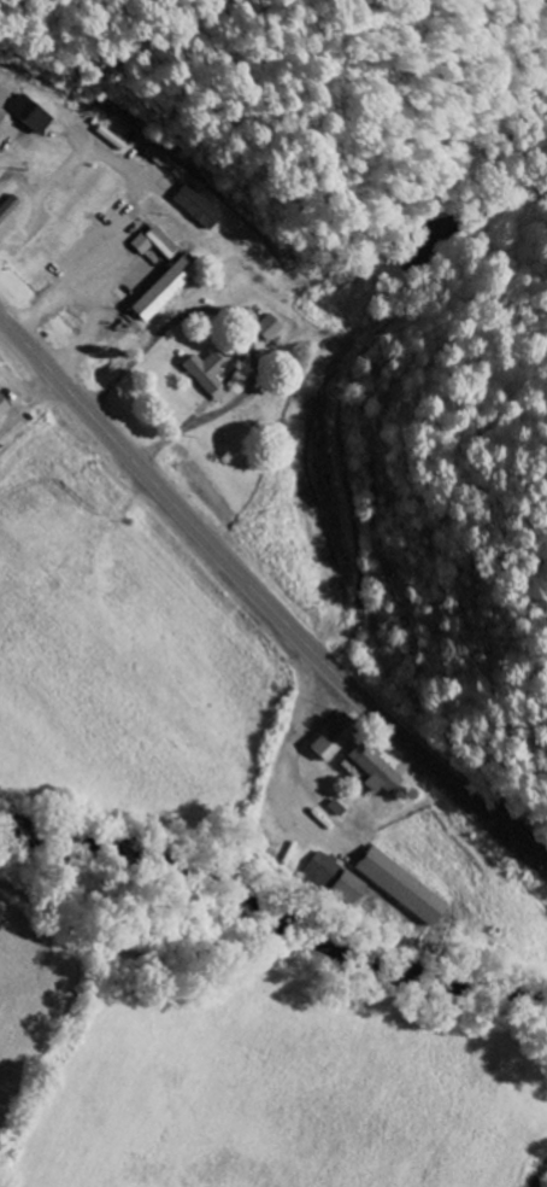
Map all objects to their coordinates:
building: (20, 115)
building: (196, 209)
building: (154, 244)
building: (161, 290)
building: (266, 329)
building: (211, 374)
building: (4, 411)
road: (264, 601)
building: (330, 738)
building: (365, 770)
building: (329, 879)
building: (396, 887)
river: (287, 900)

